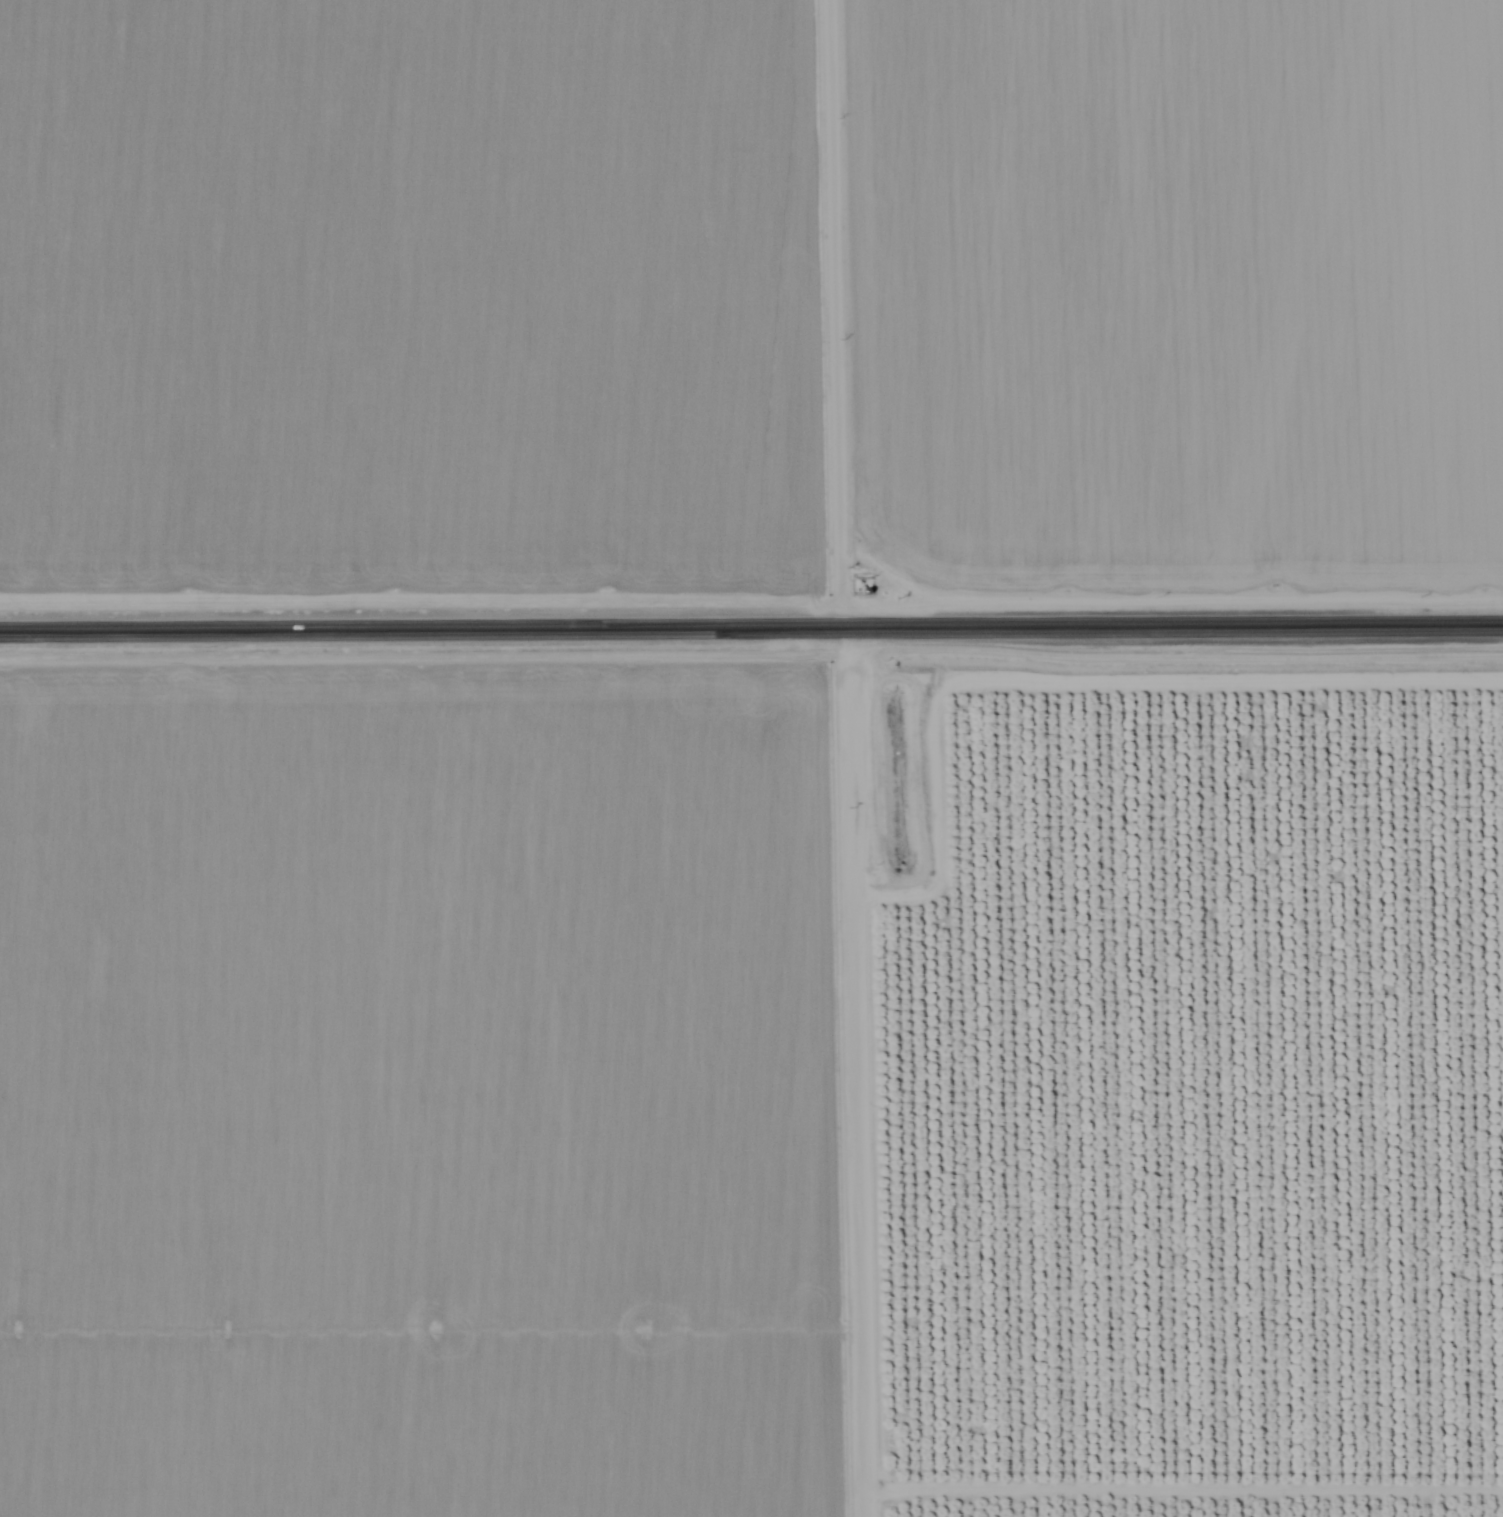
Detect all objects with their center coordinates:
crop: (1182, 302)
crop: (430, 306)
road: (835, 316)
road: (1171, 630)
road: (420, 633)
road: (854, 1075)
crop: (438, 1104)

